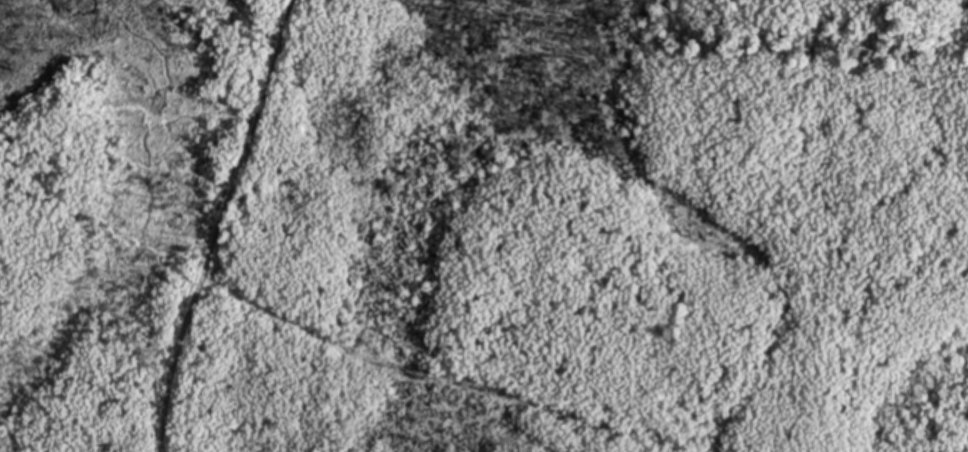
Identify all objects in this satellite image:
road: (212, 223)

